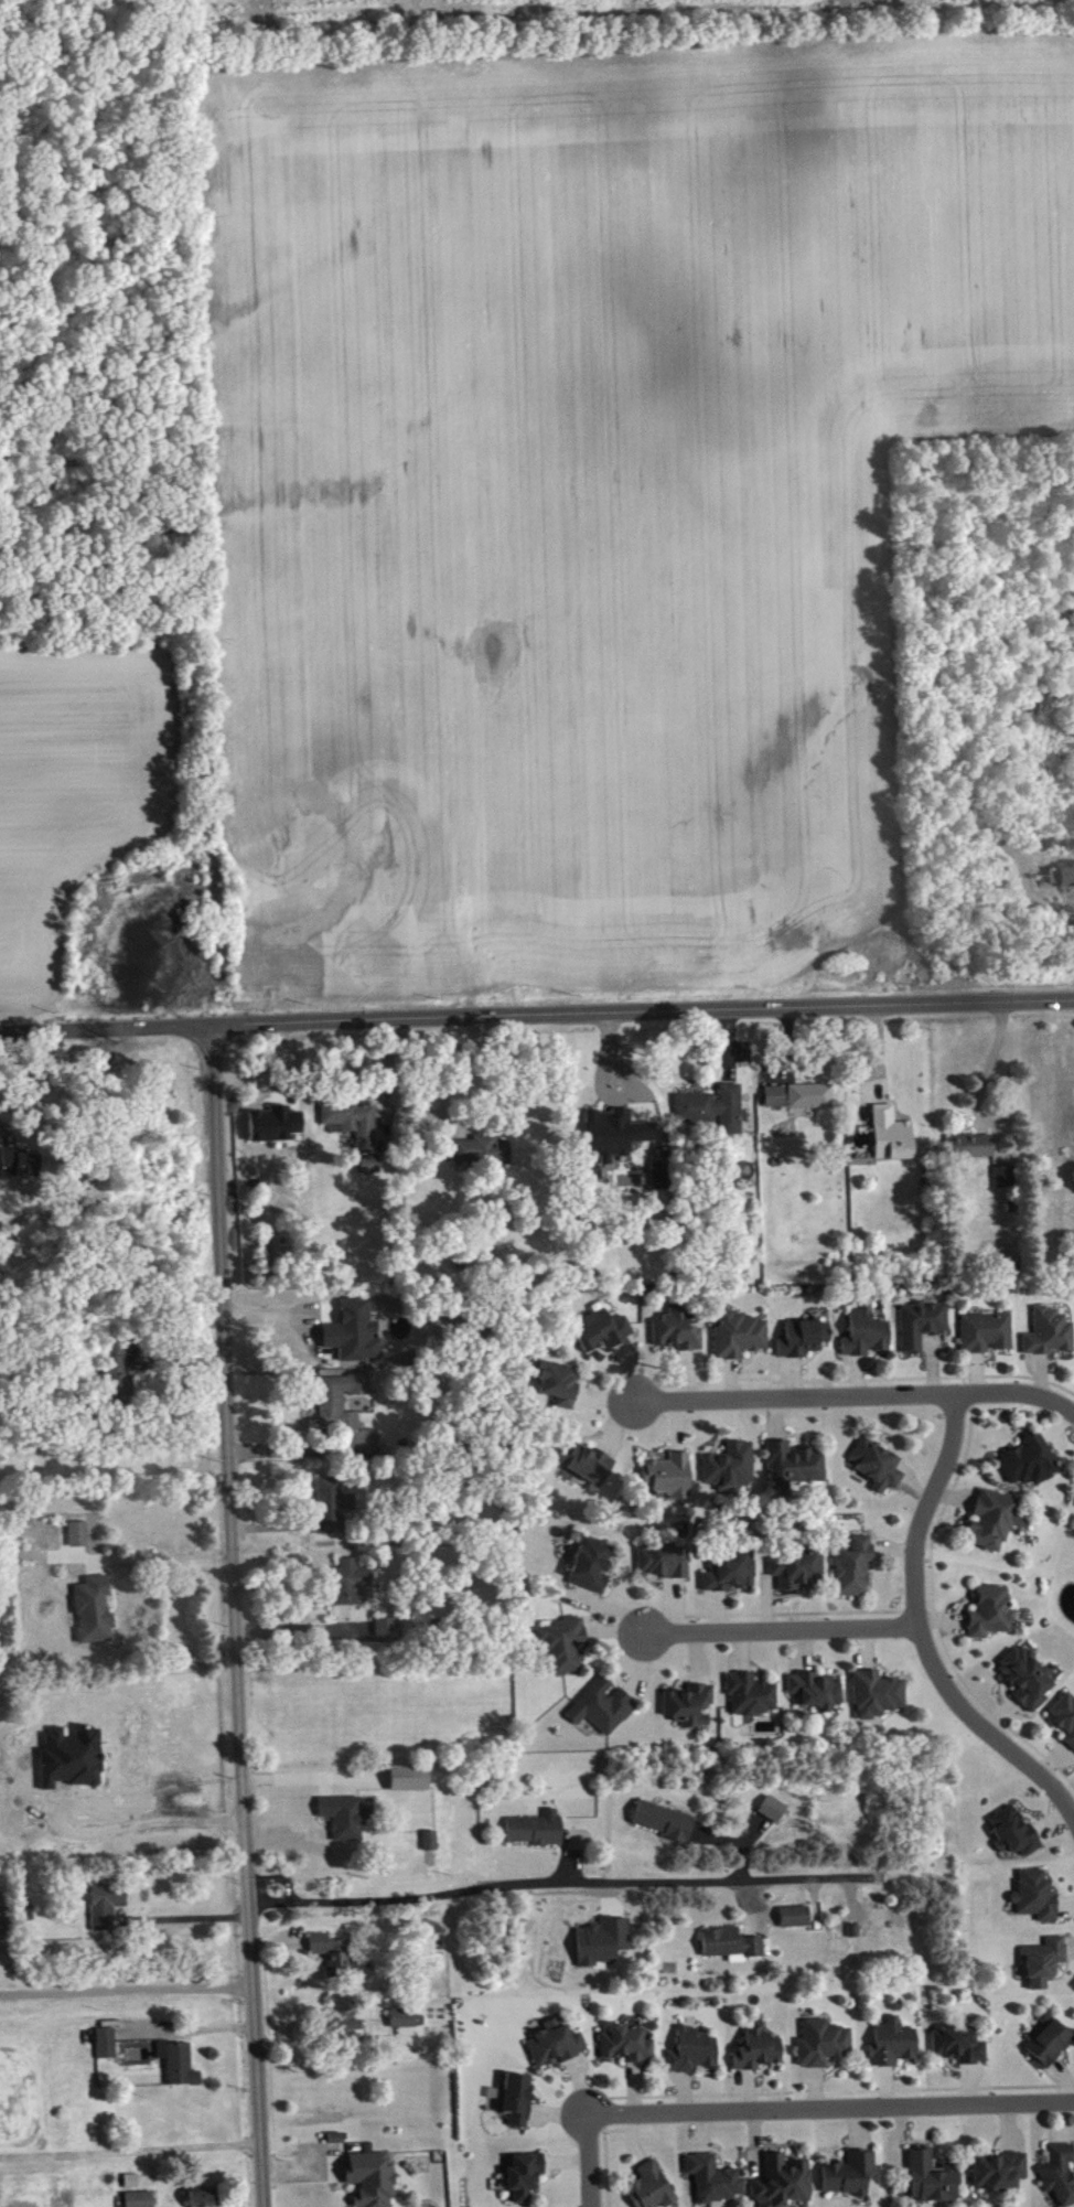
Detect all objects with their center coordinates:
crop: (595, 482)
crop: (75, 790)
building: (1064, 871)
road: (536, 1014)
road: (782, 1042)
road: (728, 1043)
road: (877, 1051)
road: (987, 1067)
road: (383, 1079)
road: (452, 1079)
building: (772, 1093)
building: (807, 1093)
building: (709, 1104)
building: (348, 1117)
road: (967, 1123)
road: (7, 1131)
building: (889, 1131)
building: (615, 1135)
building: (967, 1143)
building: (481, 1147)
building: (368, 1161)
building: (20, 1164)
building: (1007, 1177)
building: (924, 1325)
building: (603, 1331)
building: (678, 1331)
building: (355, 1332)
building: (868, 1333)
building: (988, 1333)
building: (1050, 1333)
building: (741, 1336)
building: (805, 1339)
road: (181, 1358)
building: (116, 1370)
building: (561, 1384)
road: (857, 1395)
building: (339, 1396)
road: (284, 1449)
building: (1031, 1463)
building: (589, 1464)
building: (879, 1466)
building: (731, 1467)
building: (795, 1467)
building: (670, 1477)
building: (330, 1503)
building: (996, 1521)
road: (268, 1526)
building: (76, 1532)
road: (127, 1557)
building: (664, 1563)
building: (593, 1566)
building: (856, 1567)
building: (798, 1569)
road: (84, 1572)
building: (732, 1572)
building: (348, 1579)
building: (992, 1614)
building: (78, 1615)
road: (234, 1615)
road: (342, 1615)
building: (387, 1622)
road: (781, 1626)
road: (303, 1628)
road: (920, 1631)
building: (566, 1644)
building: (1029, 1679)
building: (0, 1689)
building: (818, 1691)
building: (753, 1695)
building: (879, 1696)
building: (691, 1706)
building: (605, 1707)
building: (1065, 1716)
building: (406, 1775)
road: (314, 1777)
road: (324, 1786)
building: (770, 1804)
road: (313, 1810)
building: (342, 1813)
building: (662, 1818)
road: (144, 1821)
building: (534, 1825)
road: (752, 1828)
building: (1017, 1833)
road: (717, 1834)
building: (428, 1836)
road: (570, 1856)
road: (743, 1862)
road: (562, 1879)
building: (1039, 1897)
building: (105, 1901)
road: (747, 1905)
building: (792, 1914)
road: (184, 1917)
building: (728, 1941)
road: (275, 1942)
building: (604, 1942)
building: (329, 1950)
building: (1045, 1962)
road: (126, 1989)
building: (406, 2018)
building: (348, 2024)
building: (108, 2044)
building: (825, 2044)
building: (558, 2045)
building: (629, 2045)
building: (895, 2045)
building: (1051, 2045)
building: (960, 2046)
building: (695, 2051)
building: (761, 2051)
building: (180, 2064)
building: (518, 2099)
road: (829, 2106)
building: (334, 2134)
road: (129, 2150)
road: (588, 2160)
road: (302, 2169)
building: (1001, 2172)
building: (1061, 2174)
building: (852, 2175)
building: (526, 2176)
building: (369, 2177)
building: (934, 2178)
building: (717, 2179)
building: (785, 2183)
building: (653, 2187)
building: (198, 2195)
building: (137, 2197)

